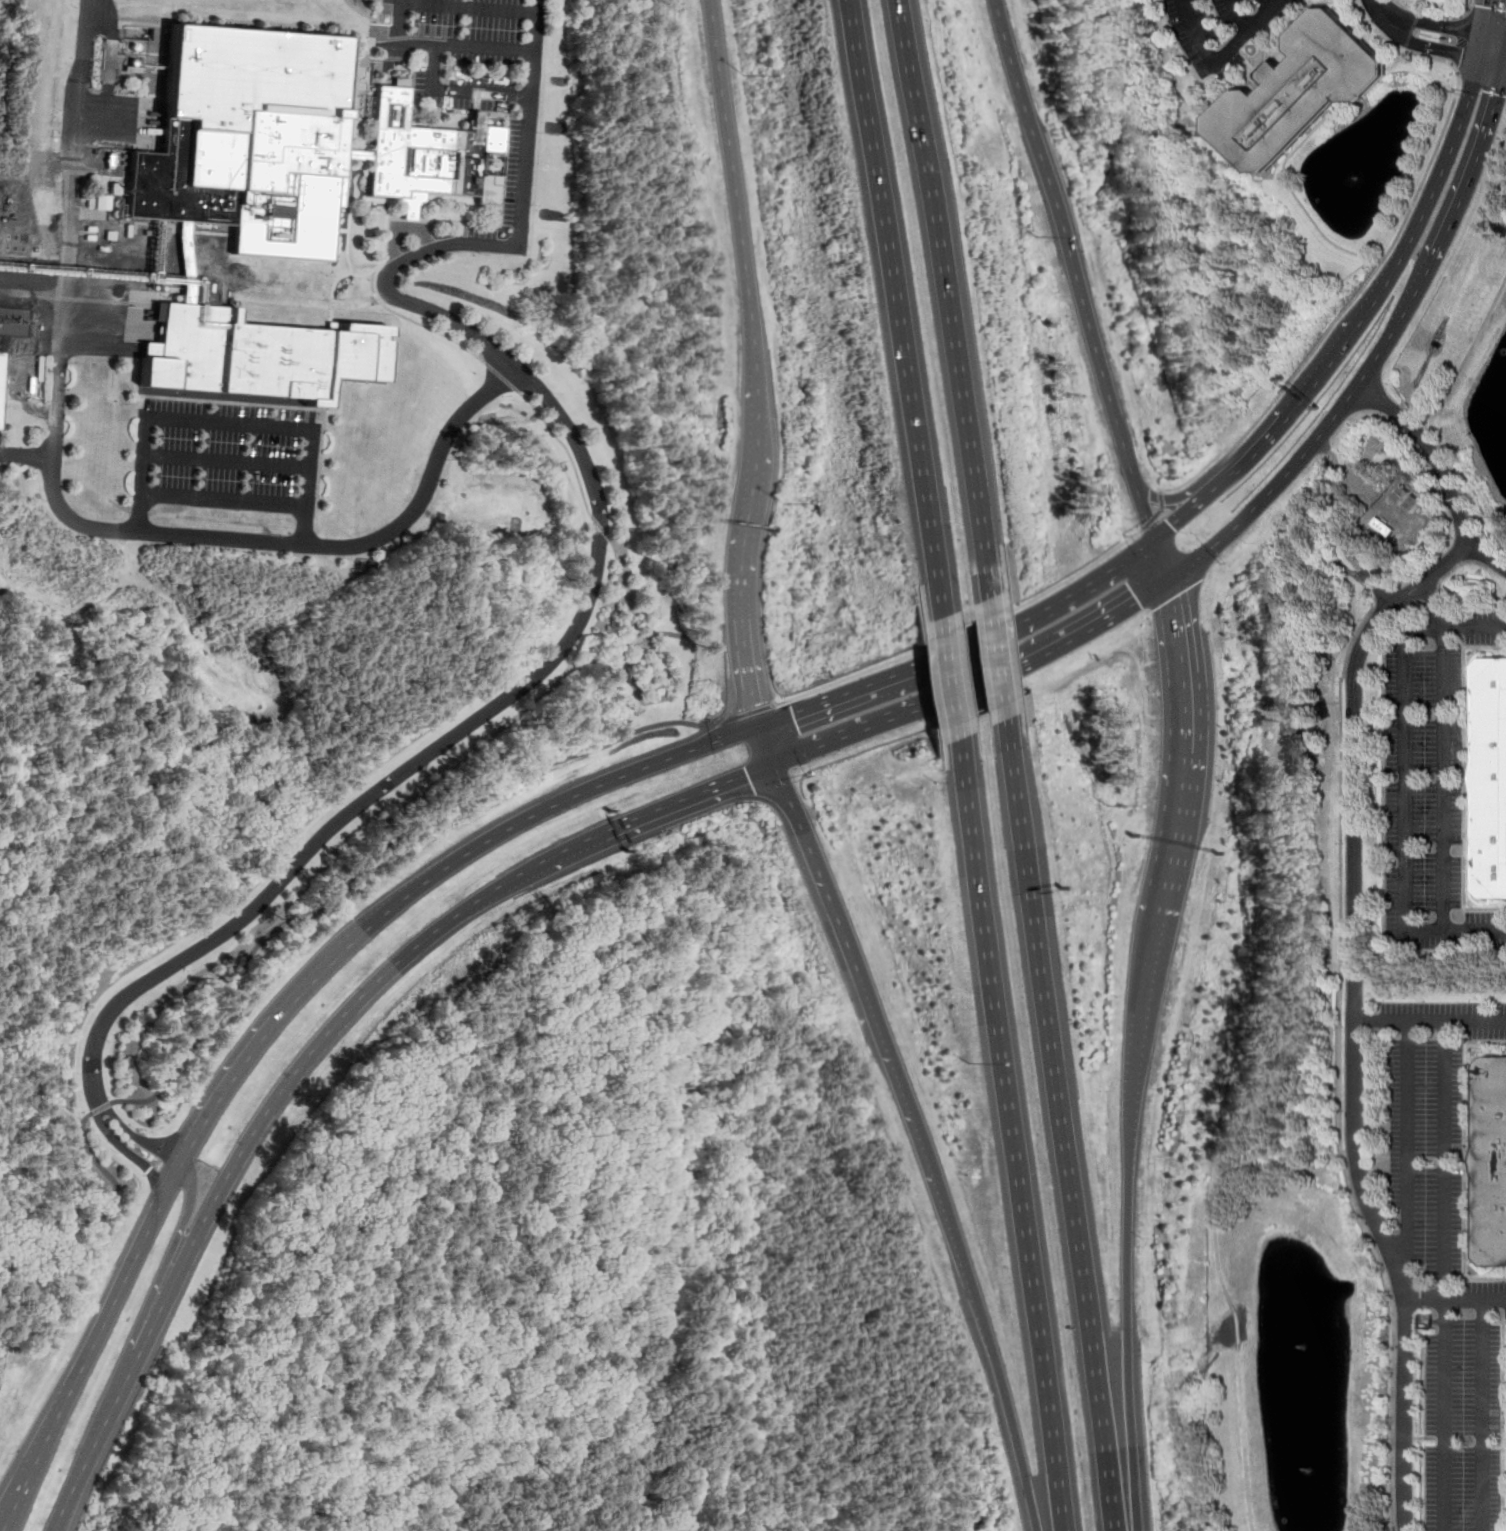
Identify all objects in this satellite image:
road: (468, 6)
road: (1420, 6)
road: (1468, 8)
traffic signals: (1491, 8)
road: (1454, 13)
road: (1236, 15)
road: (1489, 17)
road: (1427, 22)
road: (1283, 23)
road: (1462, 23)
road: (1376, 28)
parking lot: (1224, 29)
road: (1411, 31)
road: (1496, 36)
road: (444, 44)
road: (1418, 44)
road: (1483, 47)
traffic signals: (1462, 55)
road: (1218, 59)
road: (1493, 63)
parking lot: (479, 81)
road: (460, 88)
building: (1295, 93)
traffic signals: (1499, 93)
building: (351, 104)
building: (287, 144)
road: (1450, 156)
road: (1298, 200)
road: (743, 219)
road: (1078, 270)
road: (1367, 282)
road: (937, 306)
road: (887, 316)
road: (418, 322)
road: (1382, 352)
building: (260, 353)
road: (1469, 358)
building: (2, 376)
road: (502, 376)
road: (1319, 378)
building: (285, 400)
road: (1411, 413)
road: (230, 423)
road: (1419, 430)
road: (566, 447)
road: (24, 456)
parking lot: (228, 457)
road: (228, 458)
road: (1335, 458)
road: (1365, 459)
road: (1463, 492)
road: (1183, 499)
road: (225, 500)
road: (1380, 500)
road: (1162, 512)
road: (1185, 516)
road: (75, 522)
traffic signals: (1175, 526)
road: (602, 527)
road: (599, 557)
road: (1487, 557)
road: (1165, 560)
road: (743, 582)
road: (1440, 583)
traffic signals: (1175, 599)
traffic signals: (1140, 600)
road: (1065, 601)
road: (1412, 604)
road: (1438, 605)
road: (1383, 615)
parking lot: (1486, 626)
road: (964, 630)
road: (1088, 630)
road: (629, 642)
road: (988, 657)
road: (940, 677)
road: (863, 690)
traffic signals: (755, 704)
road: (745, 713)
traffic signals: (793, 714)
road: (767, 744)
road: (1188, 746)
road: (1442, 748)
traffic signals: (746, 775)
road: (729, 780)
building: (1490, 782)
road: (596, 786)
parking lot: (1428, 799)
road: (1405, 816)
road: (379, 859)
road: (1352, 918)
road: (847, 954)
road: (294, 998)
road: (1428, 1022)
road: (1338, 1071)
road: (102, 1108)
road: (268, 1111)
road: (1055, 1116)
parking lot: (1430, 1124)
road: (1005, 1126)
road: (135, 1134)
road: (1405, 1142)
road: (129, 1148)
road: (1353, 1157)
road: (1376, 1158)
building: (1491, 1163)
road: (1125, 1220)
road: (66, 1234)
road: (134, 1260)
road: (166, 1262)
road: (1444, 1276)
road: (1221, 1292)
parking lot: (1488, 1293)
road: (1454, 1299)
road: (984, 1336)
road: (72, 1391)
road: (1482, 1415)
parking lot: (1463, 1427)
road: (102, 1429)
road: (30, 1475)
road: (60, 1513)

